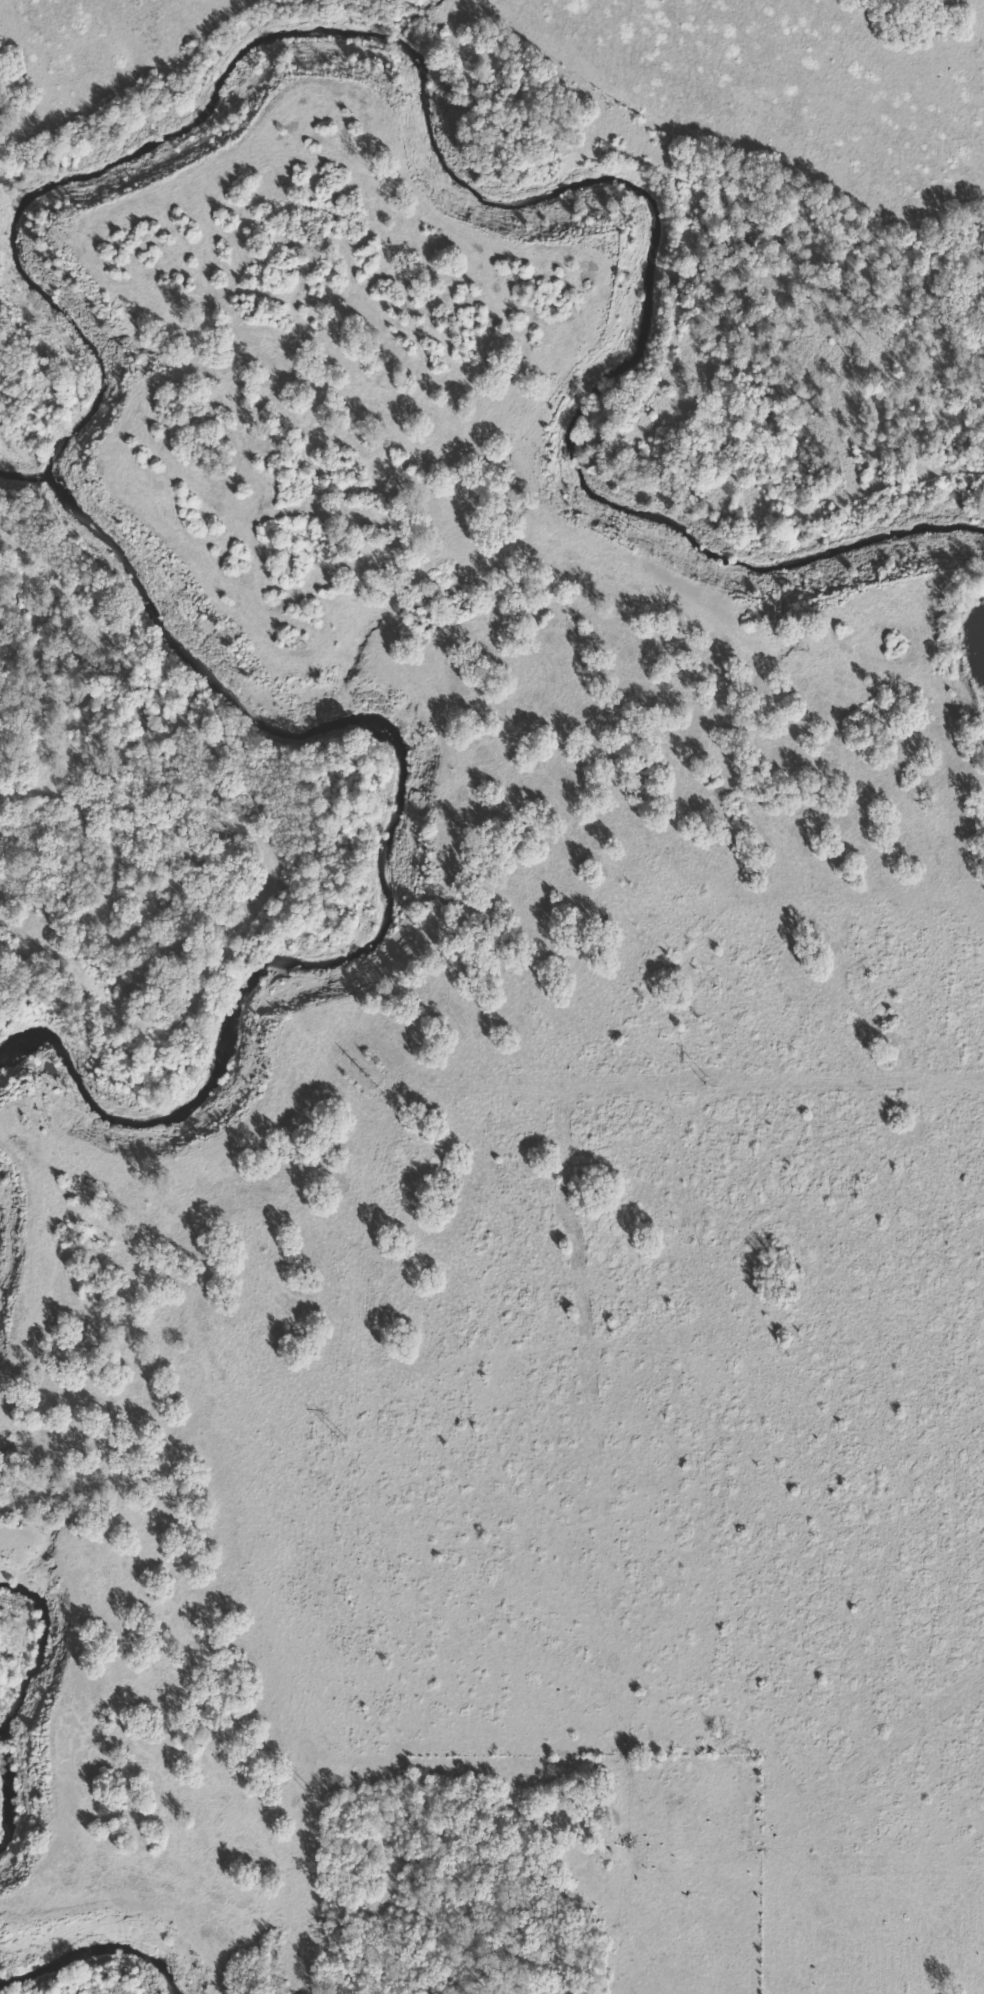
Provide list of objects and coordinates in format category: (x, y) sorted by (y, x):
river: (29, 181)
power tower: (707, 1083)
power tower: (375, 1085)
river: (7, 1259)
power tower: (341, 1438)
river: (14, 1728)
power tower: (310, 1792)
river: (30, 1990)

